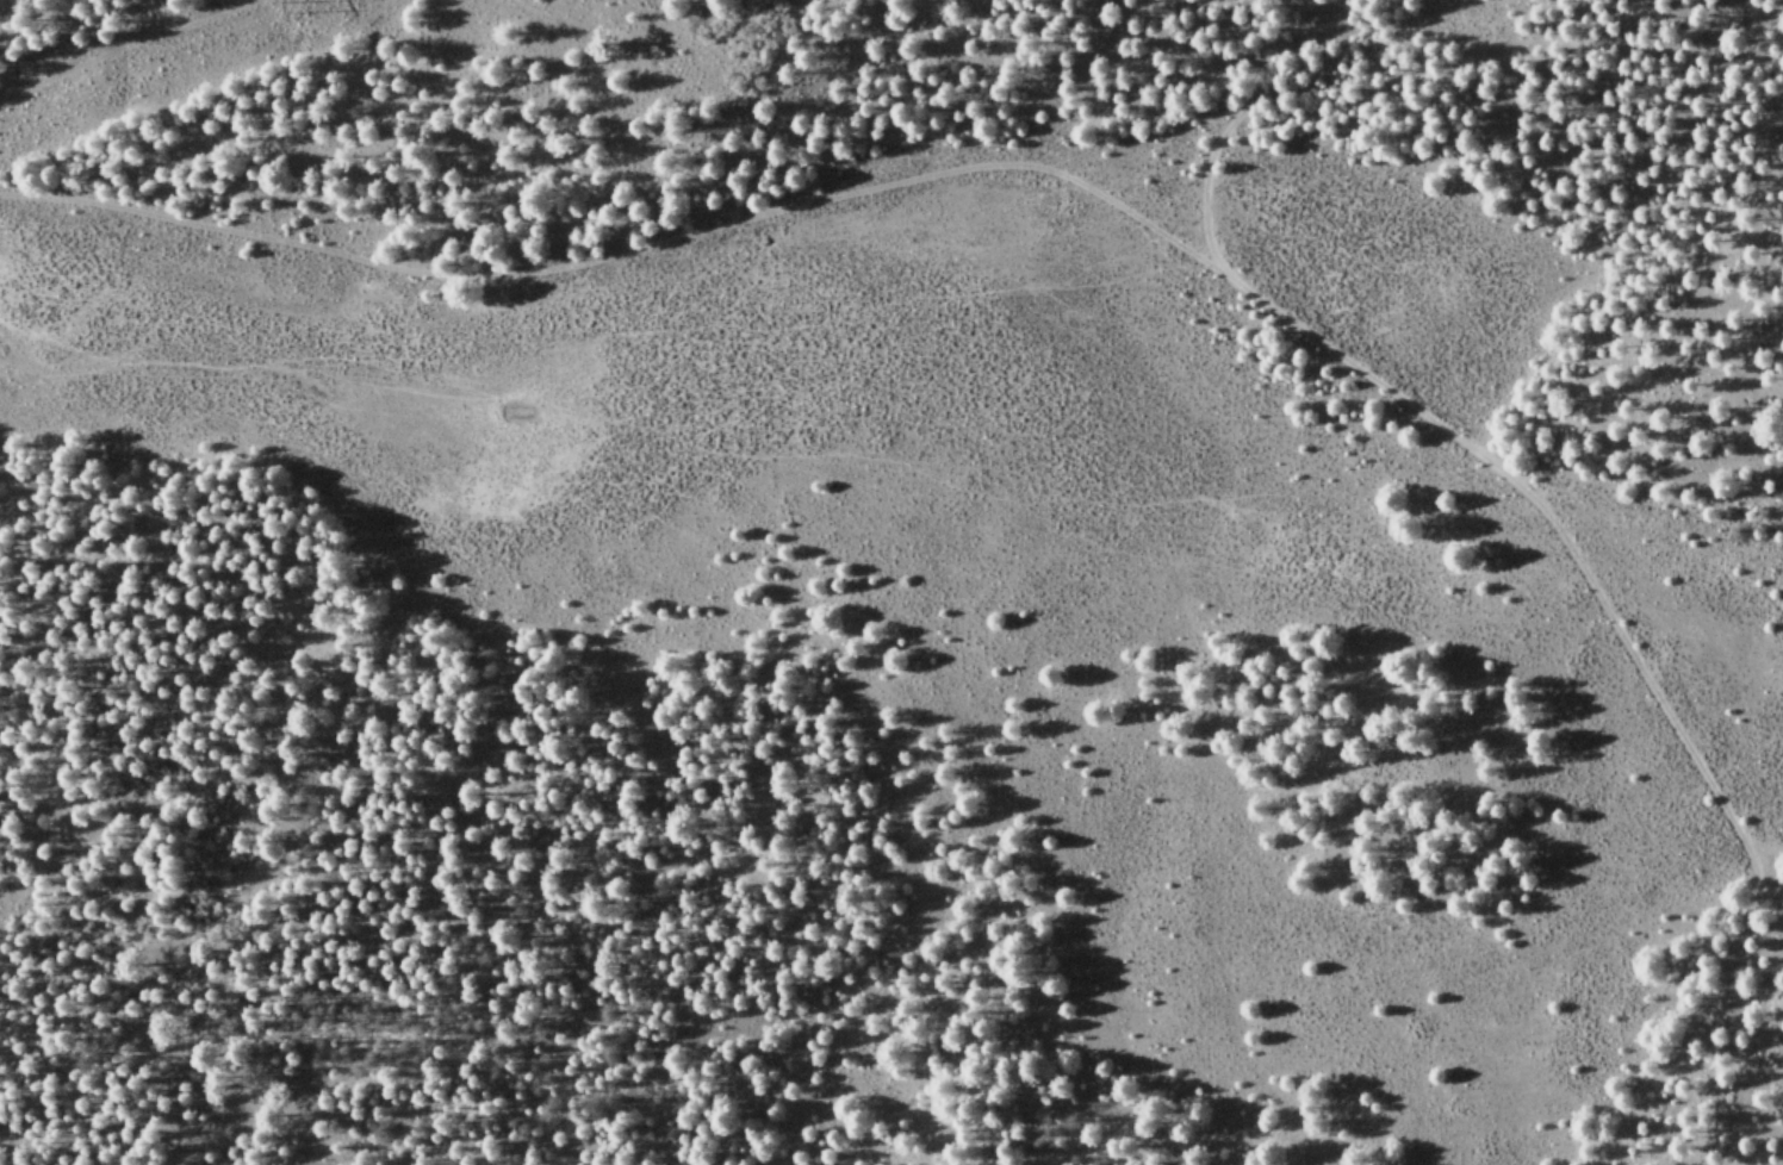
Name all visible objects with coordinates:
power tower: (290, 12)
road: (930, 359)

